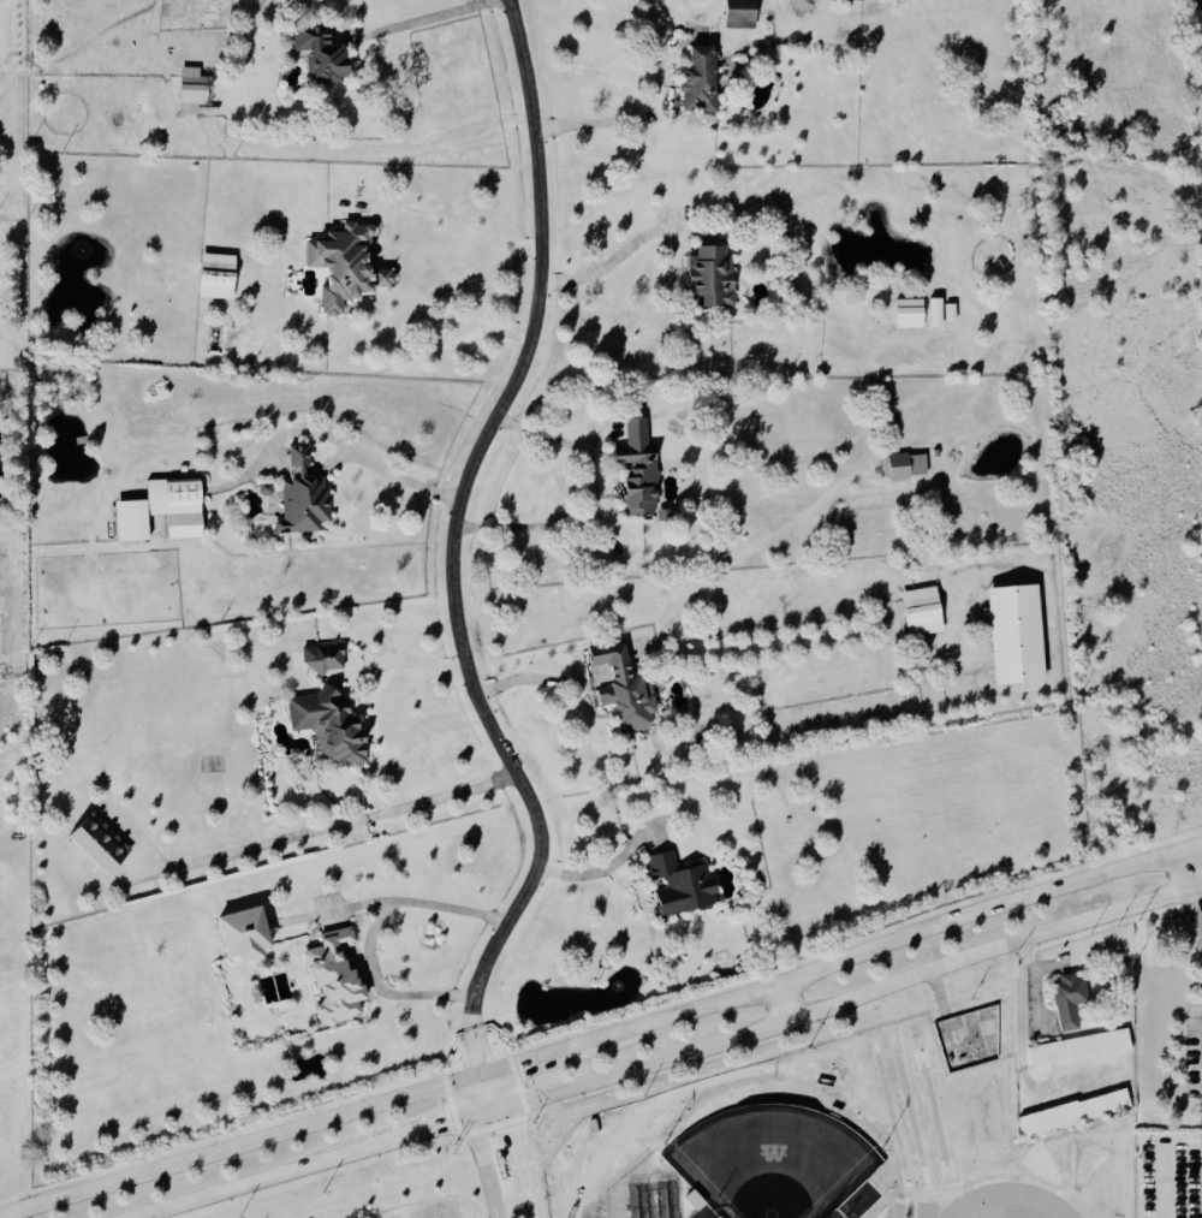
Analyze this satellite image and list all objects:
building: (739, 13)
road: (413, 22)
building: (325, 55)
building: (703, 83)
building: (190, 91)
road: (613, 119)
road: (383, 150)
road: (446, 222)
road: (617, 256)
building: (350, 267)
building: (215, 278)
building: (714, 279)
building: (909, 314)
building: (950, 314)
building: (938, 315)
road: (434, 349)
building: (936, 453)
building: (899, 468)
road: (403, 474)
building: (641, 479)
road: (589, 495)
building: (305, 497)
building: (161, 512)
road: (451, 543)
building: (921, 612)
building: (1014, 635)
building: (327, 659)
road: (398, 663)
road: (524, 677)
building: (626, 689)
building: (333, 725)
road: (338, 825)
building: (99, 845)
road: (1190, 850)
road: (594, 872)
building: (684, 886)
road: (1190, 895)
road: (369, 926)
building: (244, 935)
road: (886, 944)
building: (338, 979)
building: (1072, 999)
road: (841, 1000)
road: (783, 1003)
building: (1079, 1048)
road: (540, 1054)
building: (1077, 1113)
road: (427, 1130)
road: (517, 1141)
road: (242, 1145)
road: (481, 1145)
park: (770, 1149)
road: (252, 1182)
track: (1000, 1200)

